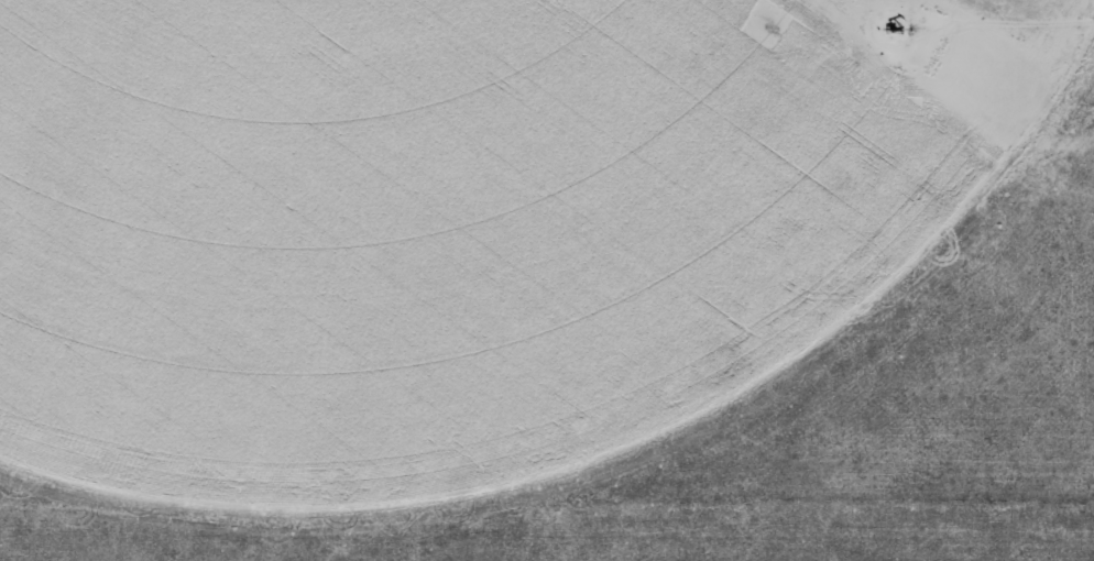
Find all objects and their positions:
road: (256, 4)
petroleum well: (891, 26)

